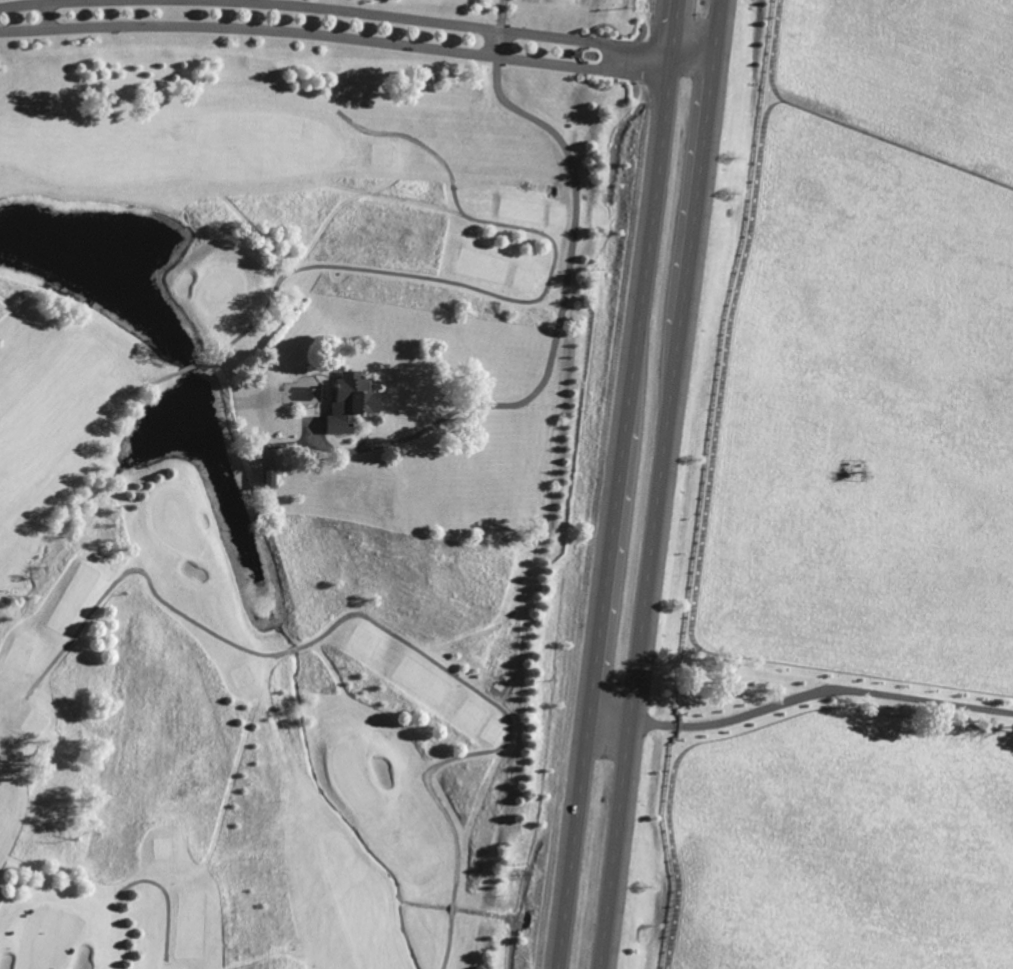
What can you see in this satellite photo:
road: (36, 2)
road: (49, 15)
road: (502, 15)
road: (448, 23)
road: (337, 35)
road: (499, 43)
road: (690, 63)
road: (520, 300)
road: (556, 331)
road: (156, 381)
building: (350, 401)
building: (270, 476)
park: (124, 481)
road: (616, 484)
road: (658, 484)
road: (147, 575)
road: (294, 649)
road: (818, 691)
road: (509, 715)
road: (608, 717)
road: (168, 898)
road: (452, 907)
road: (448, 941)

